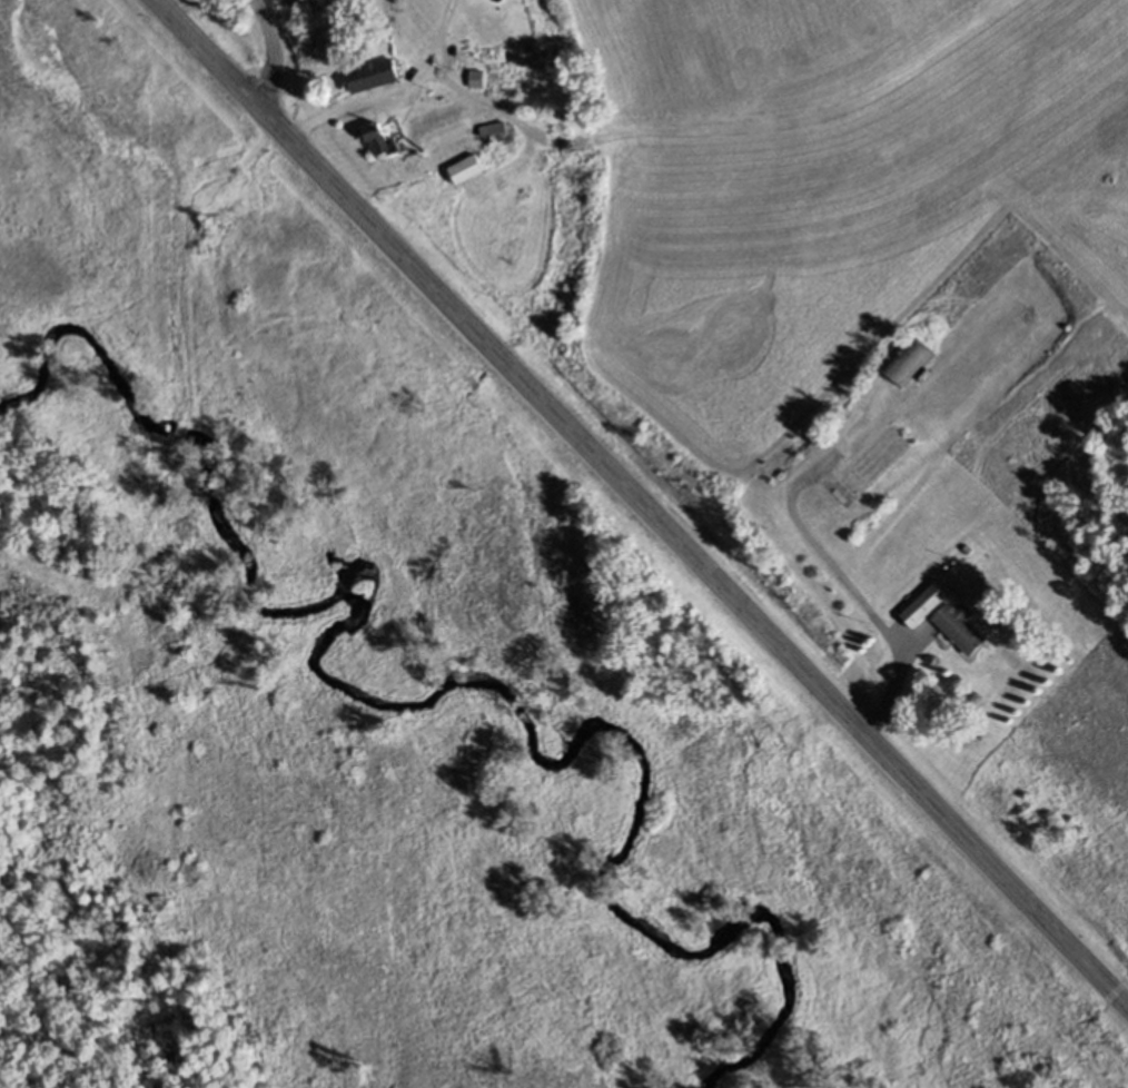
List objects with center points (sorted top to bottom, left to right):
road: (271, 50)
building: (373, 73)
building: (476, 78)
road: (403, 85)
building: (493, 127)
building: (379, 141)
building: (466, 168)
building: (907, 360)
road: (641, 503)
building: (967, 551)
building: (921, 605)
building: (958, 624)
road: (892, 682)

